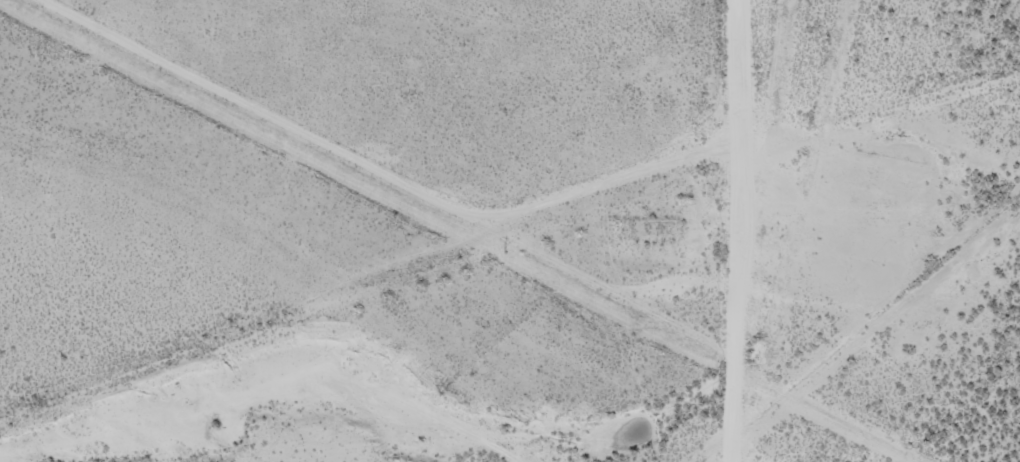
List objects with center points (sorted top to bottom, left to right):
road: (365, 167)
road: (731, 231)

